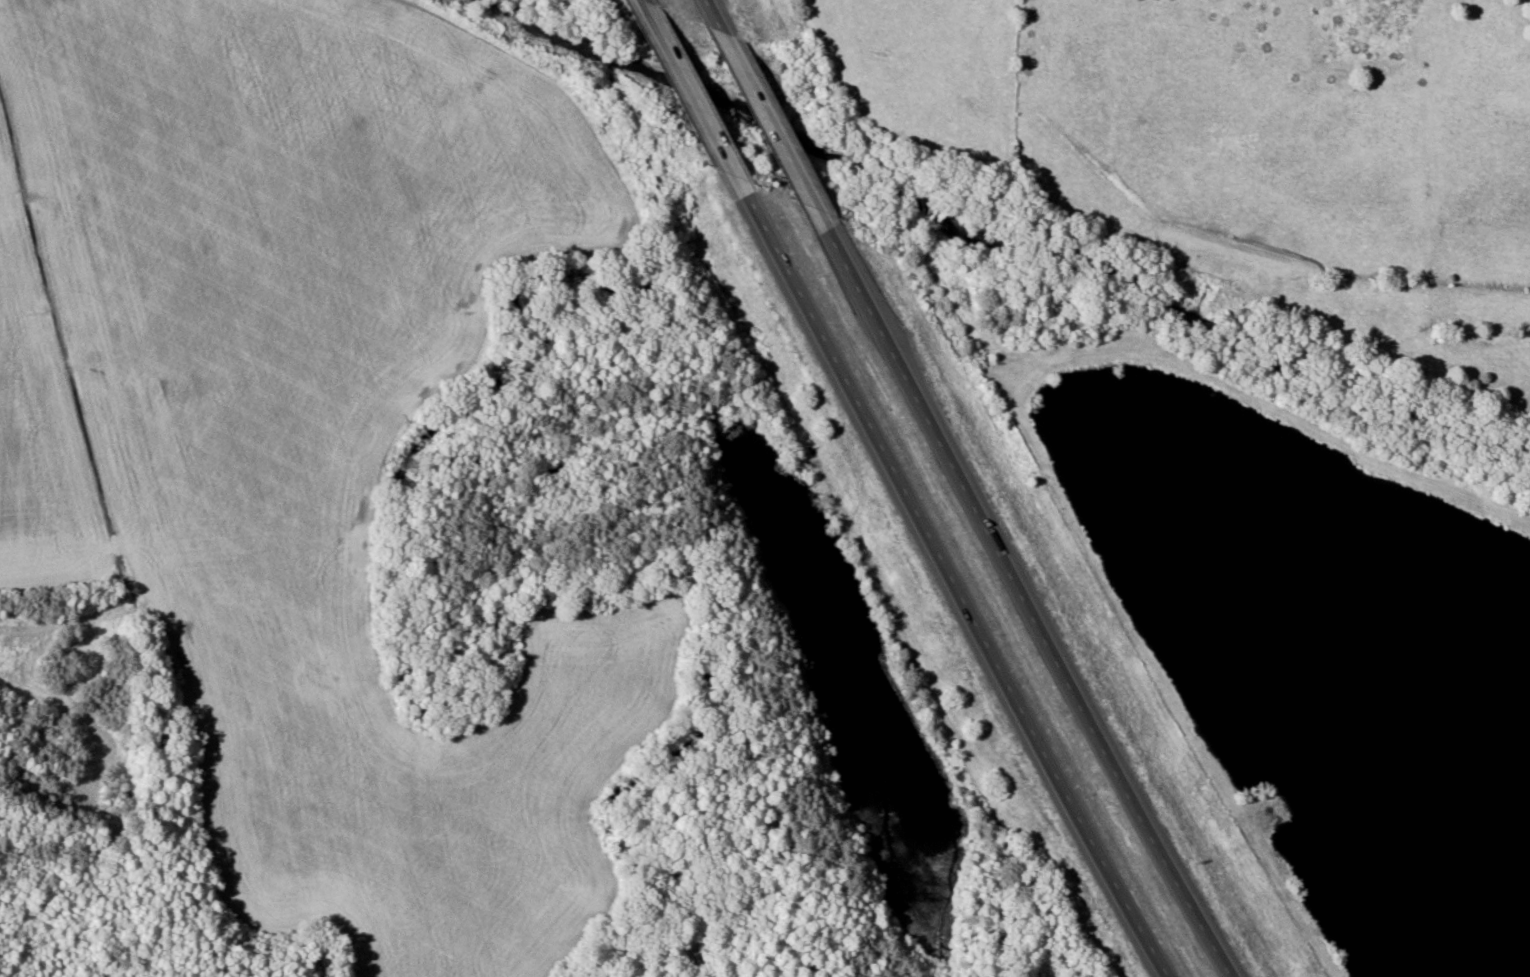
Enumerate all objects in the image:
road: (646, 0)
road: (712, 7)
road: (699, 98)
road: (772, 121)
road: (953, 588)
road: (1028, 602)

